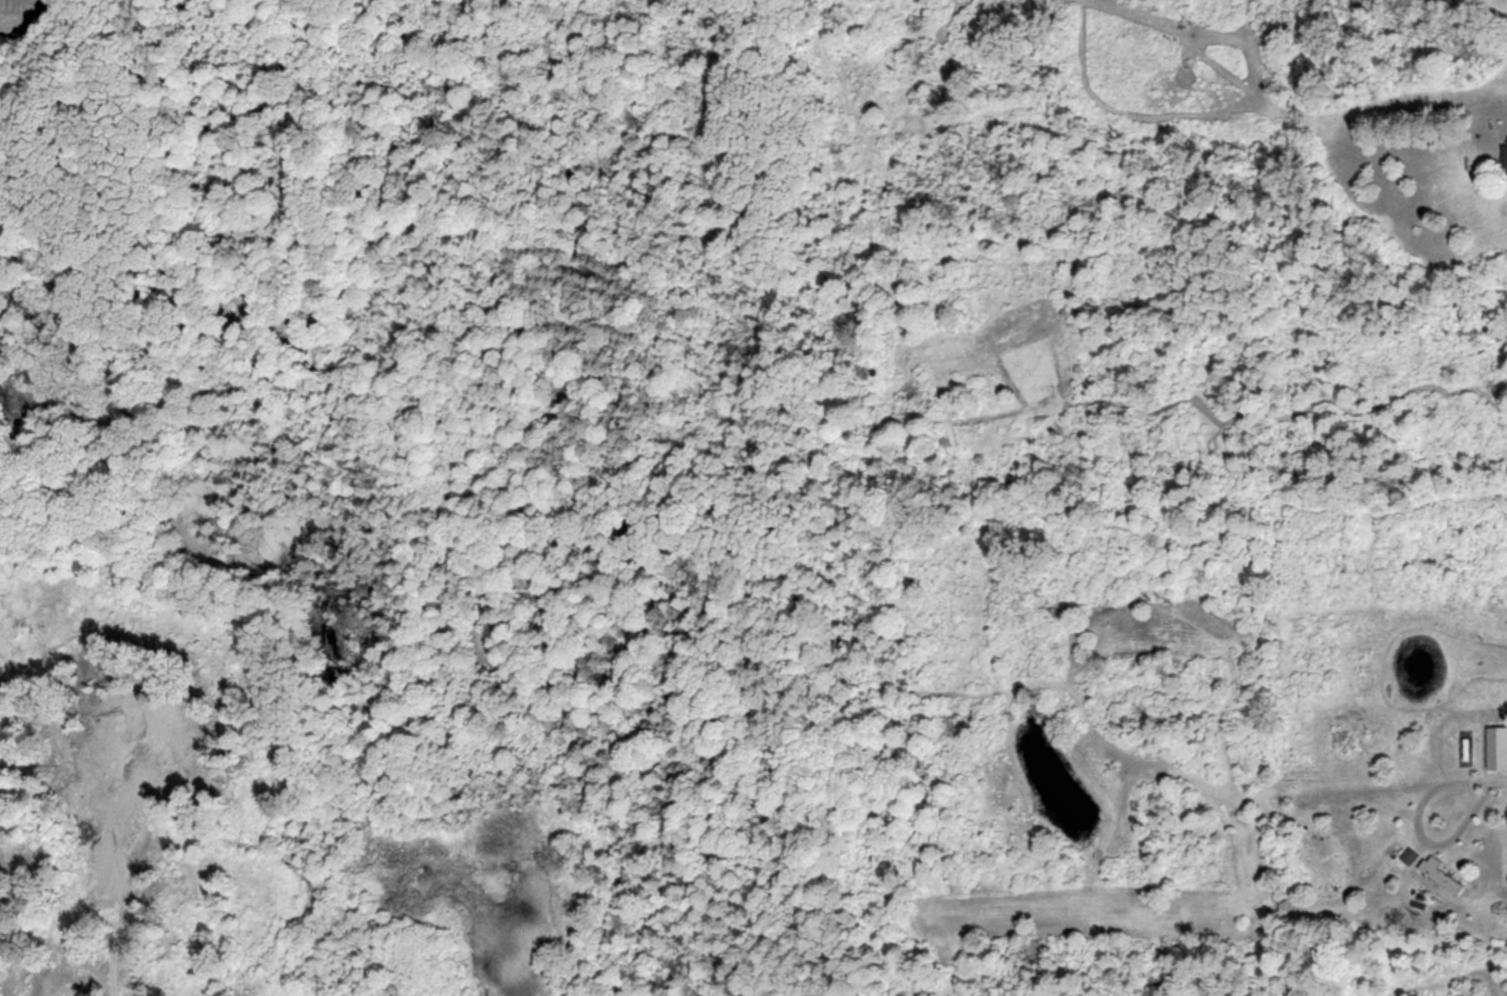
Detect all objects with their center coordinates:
building: (1506, 157)
building: (1498, 750)
building: (1446, 880)

